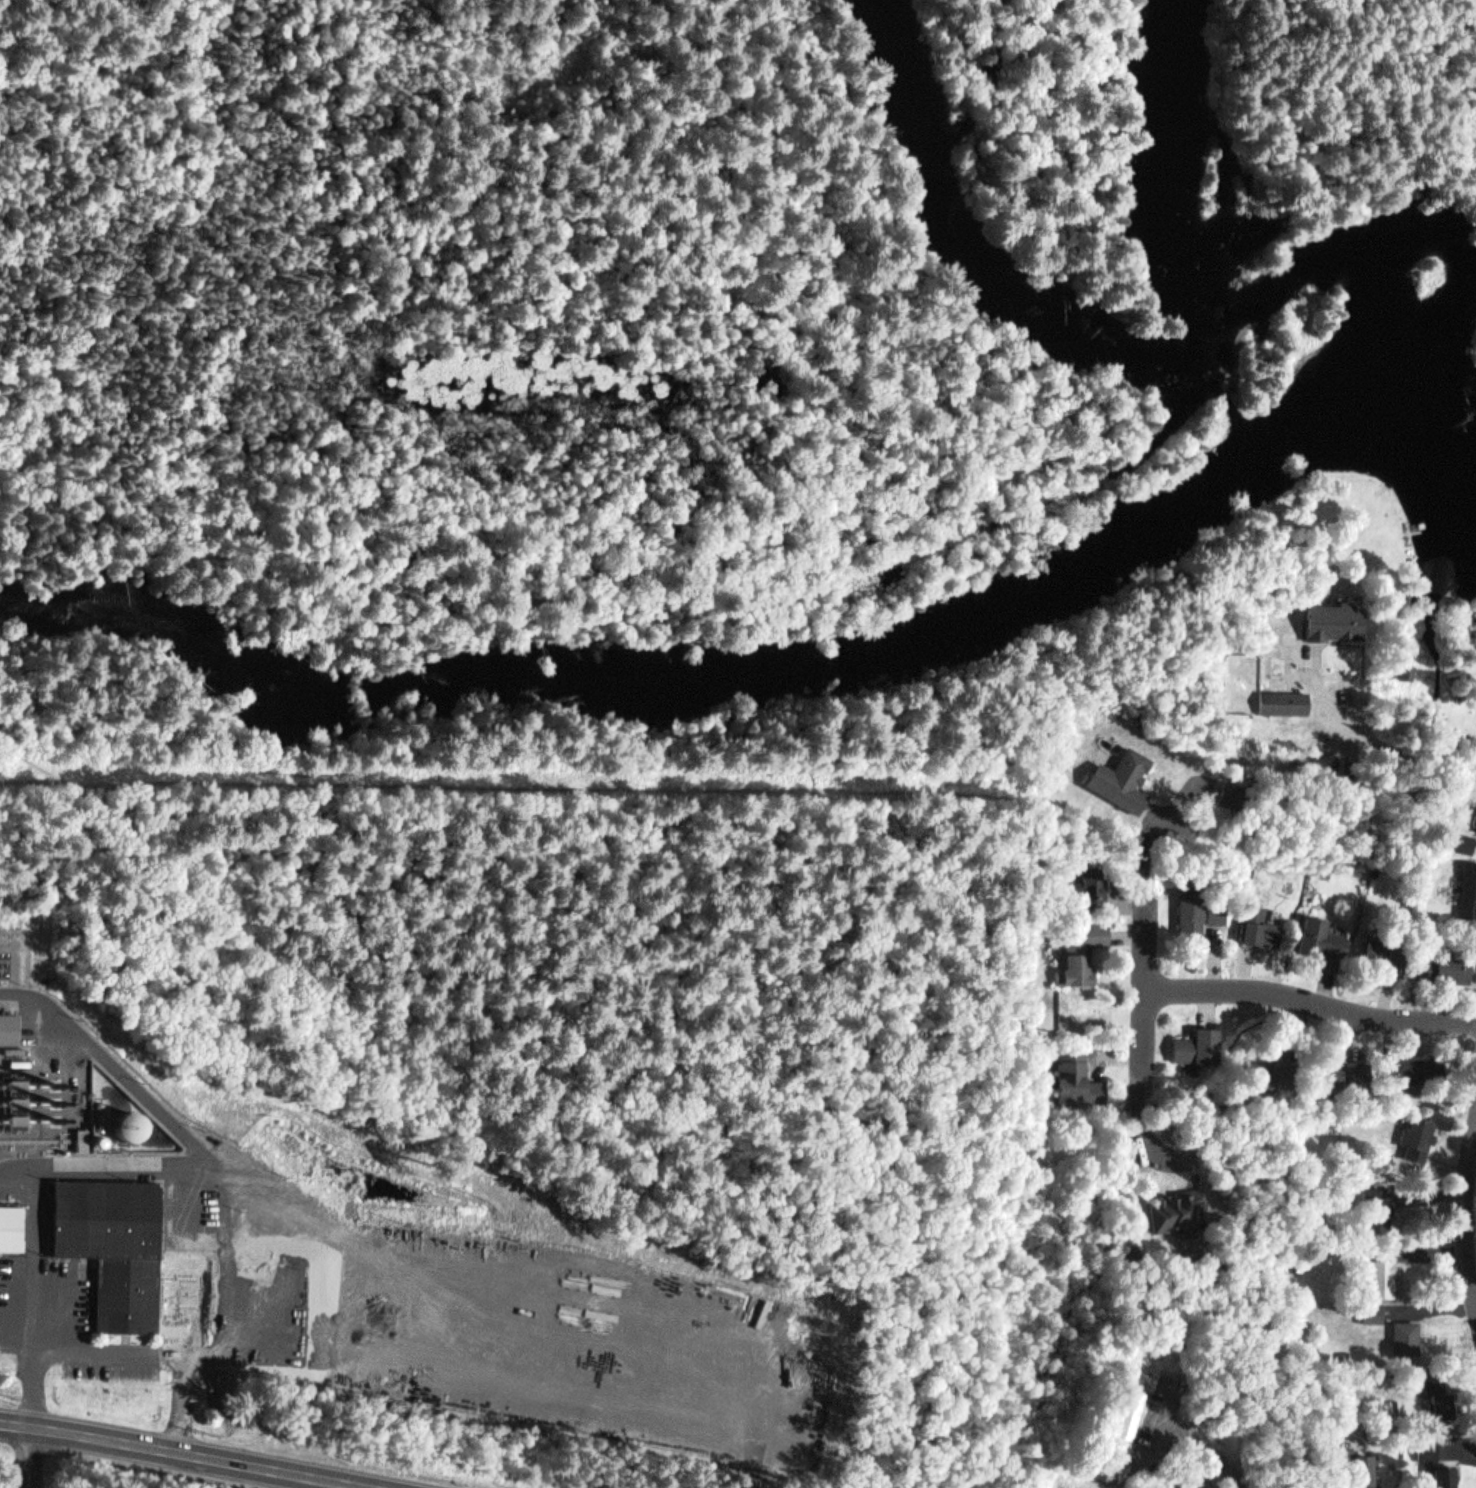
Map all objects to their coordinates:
road: (709, 82)
road: (1360, 152)
road: (1294, 182)
road: (865, 249)
road: (864, 453)
road: (81, 507)
road: (905, 598)
building: (1328, 617)
building: (1404, 664)
building: (1283, 696)
road: (796, 757)
building: (1119, 773)
building: (1230, 785)
building: (1462, 828)
building: (1465, 842)
building: (1088, 883)
building: (1467, 885)
building: (1197, 907)
building: (1258, 920)
building: (1320, 932)
building: (1079, 945)
building: (1420, 953)
road: (1315, 1005)
road: (1153, 1012)
building: (3, 1021)
building: (1197, 1041)
building: (1415, 1065)
building: (1343, 1067)
building: (1077, 1070)
building: (1266, 1070)
building: (1422, 1127)
road: (113, 1159)
building: (1378, 1196)
building: (1178, 1207)
building: (1383, 1212)
building: (11, 1227)
building: (114, 1246)
road: (405, 1249)
building: (1381, 1272)
road: (37, 1293)
road: (194, 1304)
building: (1373, 1305)
building: (1406, 1330)
road: (114, 1348)
building: (1437, 1387)
building: (1128, 1414)
road: (449, 1441)
road: (1345, 1450)
road: (190, 1452)
road: (32, 1456)
building: (1434, 1459)
building: (1368, 1466)
building: (1110, 1470)
building: (1191, 1482)
building: (1330, 1485)

